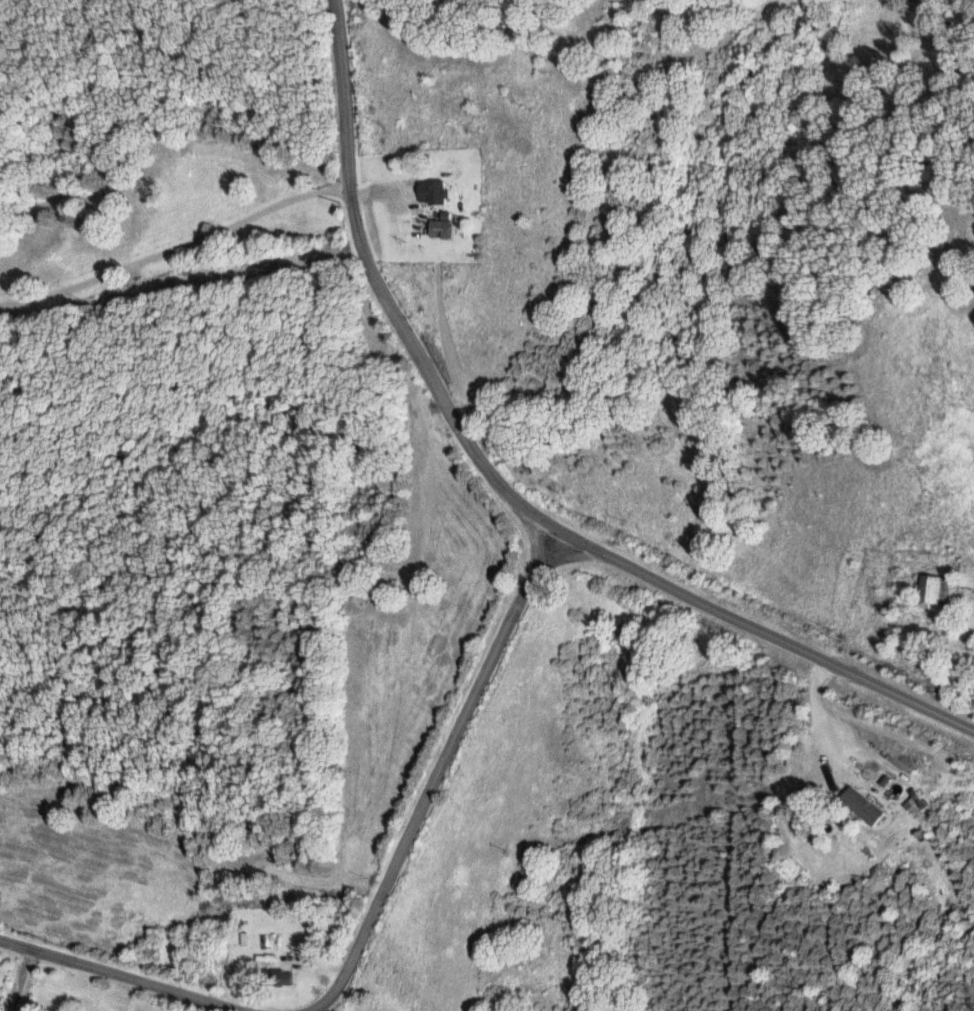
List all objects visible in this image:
building: (435, 191)
building: (441, 228)
road: (212, 244)
road: (380, 294)
building: (934, 589)
road: (766, 632)
road: (962, 681)
road: (800, 757)
road: (439, 775)
building: (861, 806)
road: (307, 972)
road: (111, 978)

